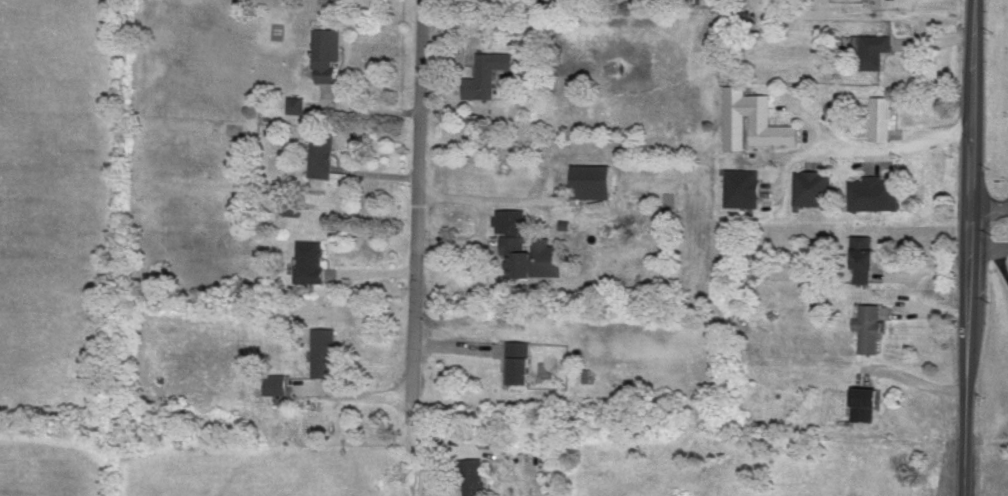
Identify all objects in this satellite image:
road: (883, 1)
building: (738, 18)
building: (872, 49)
building: (328, 52)
building: (488, 73)
building: (297, 103)
building: (882, 117)
building: (753, 120)
theme park: (750, 122)
road: (804, 122)
road: (856, 153)
building: (322, 154)
building: (593, 180)
building: (743, 187)
building: (813, 187)
building: (874, 192)
road: (496, 202)
road: (990, 204)
building: (293, 205)
building: (528, 246)
road: (414, 247)
road: (970, 247)
road: (989, 250)
building: (865, 258)
building: (310, 260)
road: (999, 267)
building: (869, 327)
building: (325, 351)
building: (519, 362)
building: (275, 383)
road: (350, 395)
building: (867, 402)
building: (474, 477)

